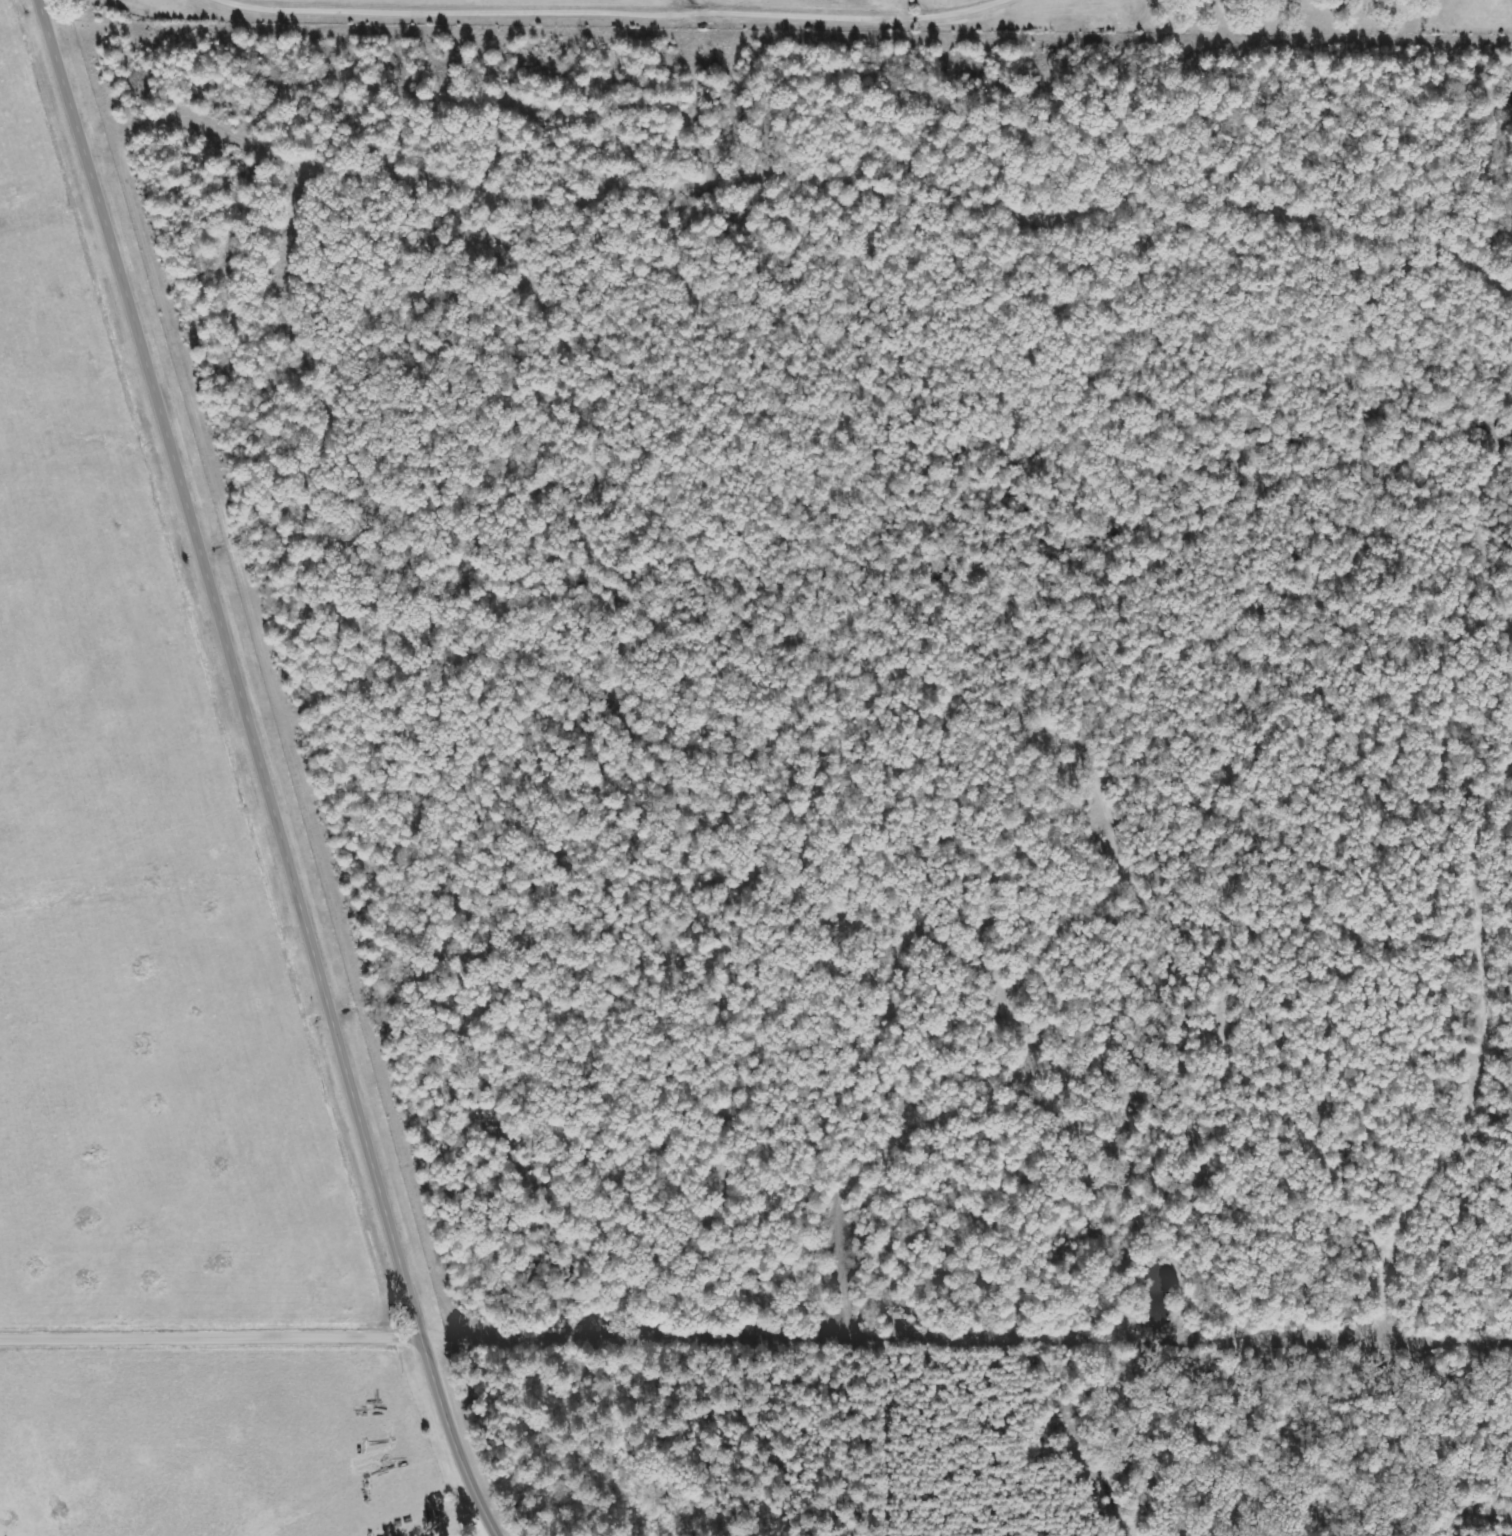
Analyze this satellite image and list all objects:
road: (262, 771)
road: (211, 1339)

